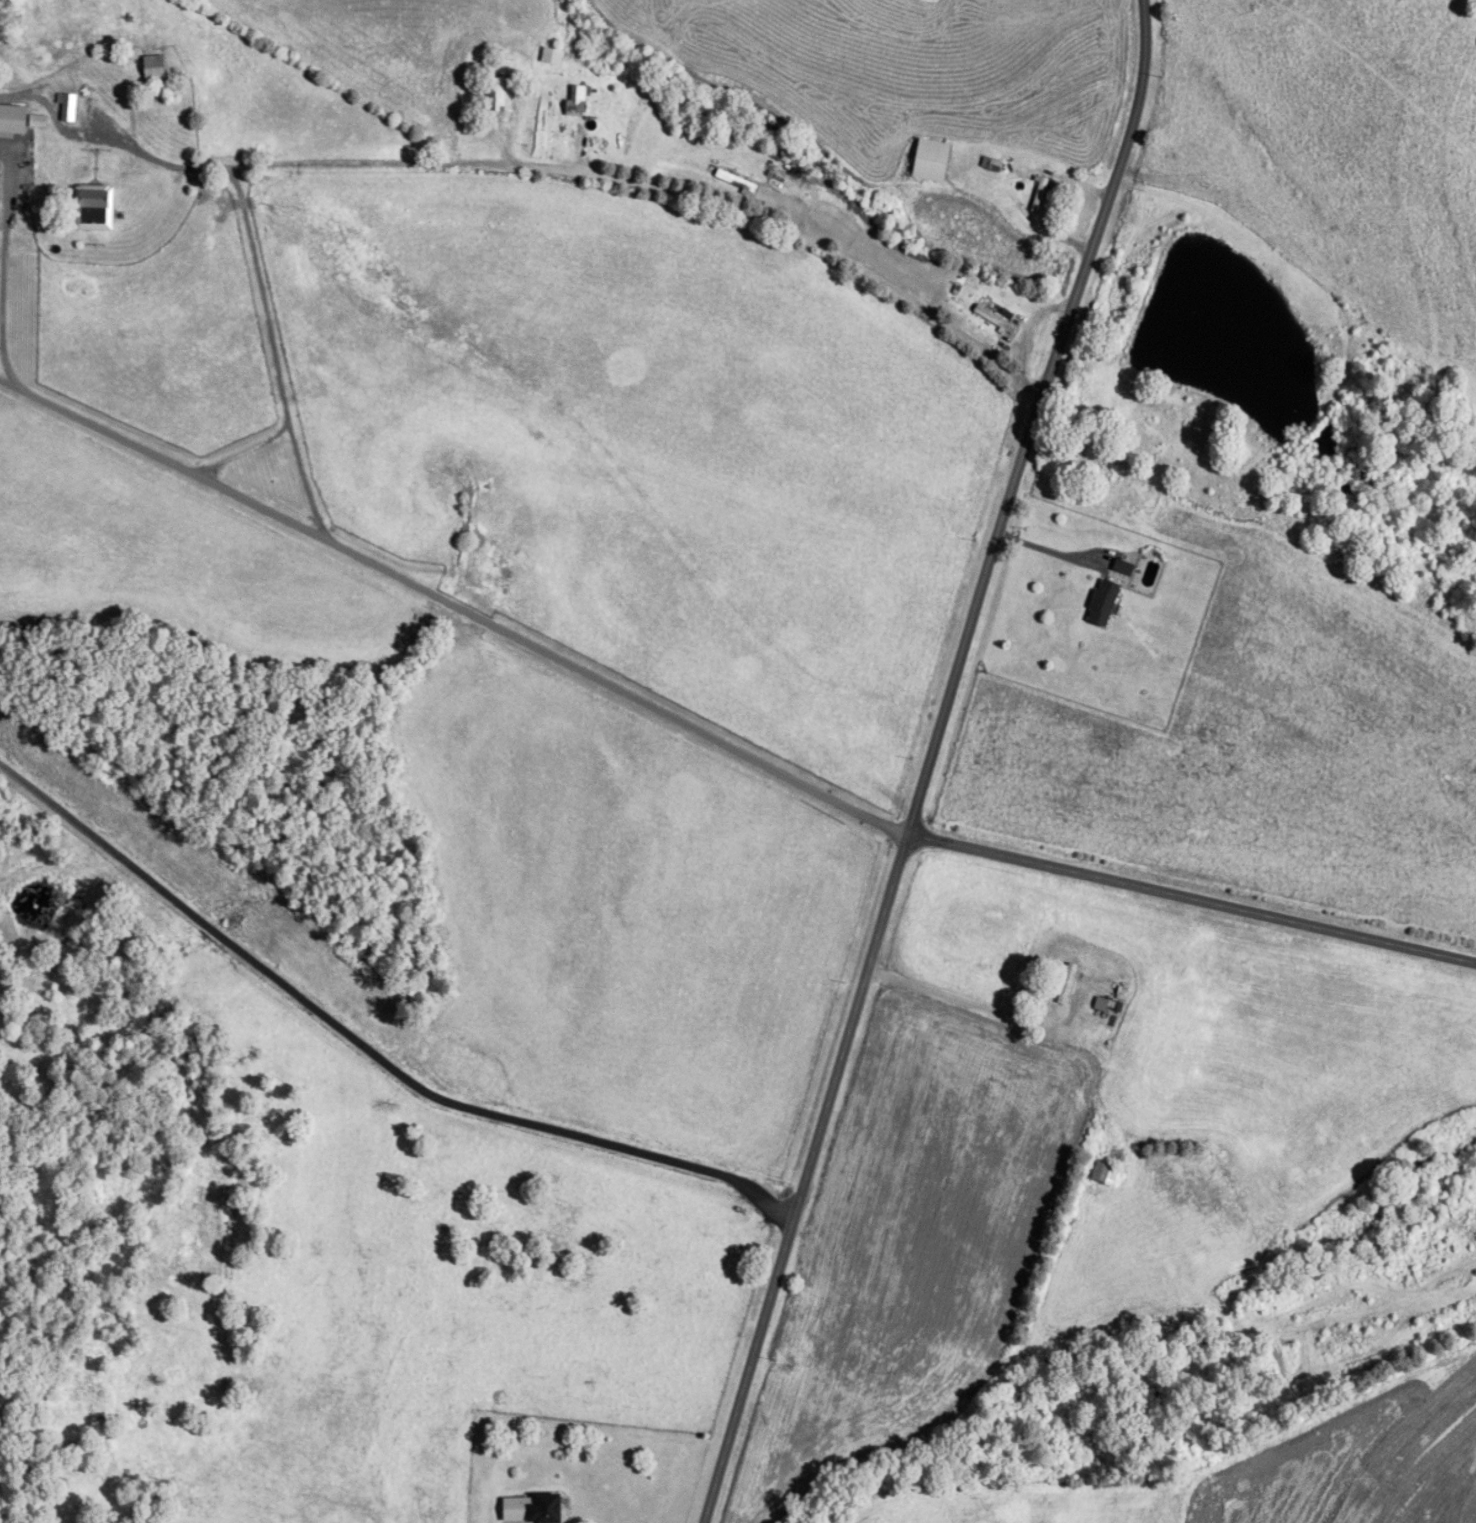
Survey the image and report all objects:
building: (57, 53)
building: (552, 56)
building: (154, 64)
building: (496, 94)
road: (44, 98)
building: (577, 102)
building: (67, 107)
building: (23, 120)
building: (932, 160)
building: (991, 164)
road: (579, 171)
building: (1039, 194)
building: (94, 209)
road: (3, 262)
road: (259, 292)
road: (289, 430)
road: (1035, 546)
building: (1123, 567)
road: (449, 601)
building: (1103, 603)
road: (919, 759)
road: (1187, 895)
building: (1067, 984)
road: (984, 1006)
road: (366, 1038)
building: (1105, 1174)
building: (536, 1508)

